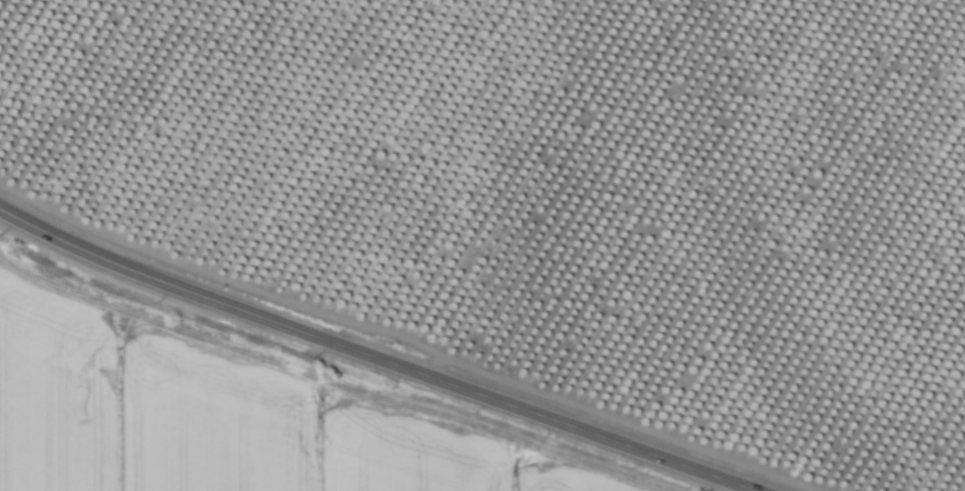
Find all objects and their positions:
road: (372, 353)
crop: (216, 420)

